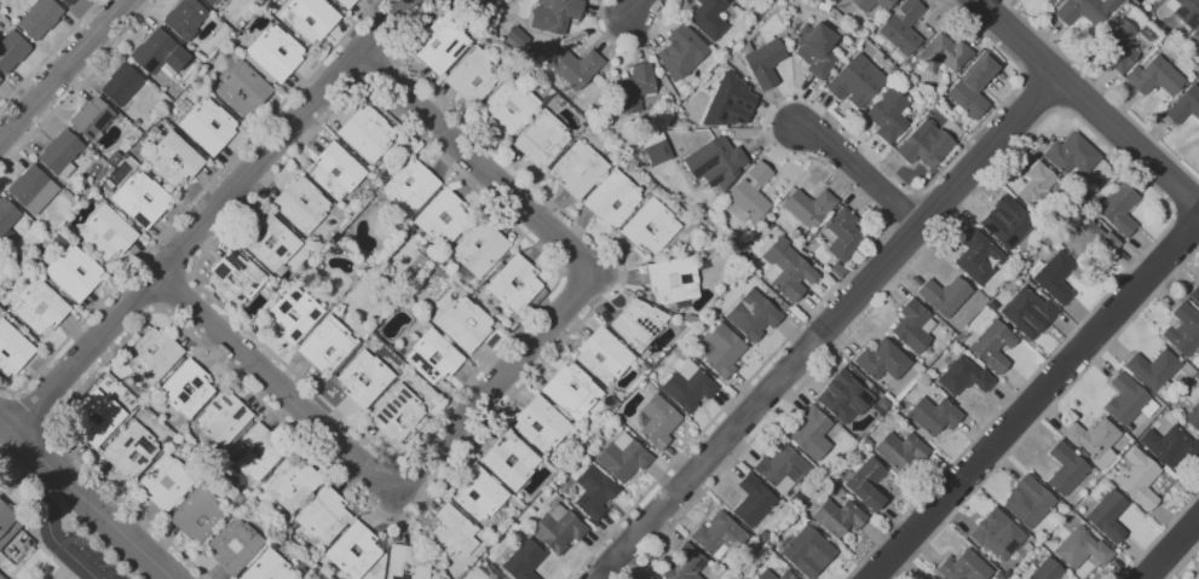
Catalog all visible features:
building: (749, 0)
building: (1049, 0)
building: (69, 1)
building: (211, 1)
building: (347, 2)
building: (483, 2)
building: (870, 4)
road: (636, 7)
building: (1083, 10)
building: (1183, 11)
building: (552, 16)
building: (40, 17)
building: (185, 18)
building: (708, 18)
building: (324, 23)
building: (900, 27)
building: (1197, 35)
building: (517, 36)
building: (438, 44)
building: (1116, 44)
road: (629, 46)
building: (12, 50)
road: (393, 50)
building: (813, 50)
building: (158, 52)
building: (276, 52)
building: (679, 52)
road: (48, 53)
building: (939, 53)
building: (763, 62)
building: (573, 66)
road: (375, 68)
road: (64, 70)
building: (471, 75)
building: (1153, 76)
building: (0, 79)
building: (854, 80)
building: (122, 83)
building: (972, 85)
road: (79, 86)
road: (358, 86)
building: (635, 86)
building: (243, 87)
building: (211, 88)
road: (1101, 89)
road: (1088, 99)
building: (727, 102)
building: (507, 105)
building: (1183, 105)
road: (1063, 108)
building: (887, 115)
building: (93, 118)
building: (209, 126)
building: (367, 133)
building: (538, 137)
building: (923, 144)
building: (62, 152)
building: (656, 152)
building: (1070, 152)
building: (174, 160)
building: (714, 161)
road: (829, 168)
building: (577, 169)
building: (336, 170)
road: (857, 170)
building: (76, 179)
building: (1036, 181)
building: (411, 186)
building: (33, 189)
building: (77, 189)
building: (749, 190)
building: (612, 198)
building: (143, 199)
road: (191, 203)
building: (302, 204)
building: (807, 207)
building: (1116, 207)
building: (7, 218)
building: (443, 218)
road: (208, 219)
building: (131, 220)
building: (1007, 220)
building: (649, 226)
building: (106, 232)
building: (842, 233)
building: (1079, 236)
building: (272, 242)
building: (482, 247)
building: (975, 255)
building: (23, 256)
building: (784, 267)
building: (31, 272)
building: (75, 272)
road: (580, 272)
road: (189, 273)
road: (560, 273)
building: (237, 276)
building: (1053, 277)
building: (673, 280)
building: (515, 284)
road: (173, 288)
building: (1194, 290)
building: (944, 294)
building: (40, 306)
road: (158, 306)
building: (1025, 311)
building: (751, 313)
building: (294, 314)
building: (465, 323)
building: (639, 323)
road: (826, 324)
building: (910, 325)
building: (1182, 329)
building: (328, 344)
building: (992, 344)
building: (12, 348)
building: (724, 349)
building: (155, 354)
building: (604, 354)
building: (433, 357)
building: (881, 359)
building: (1152, 367)
building: (963, 375)
building: (364, 378)
road: (498, 381)
building: (688, 386)
building: (186, 388)
building: (572, 390)
building: (842, 396)
building: (1124, 398)
road: (1034, 403)
road: (29, 413)
building: (397, 413)
building: (932, 413)
building: (1193, 416)
building: (96, 418)
building: (223, 418)
building: (657, 421)
building: (542, 423)
building: (812, 433)
building: (1093, 436)
building: (1169, 445)
building: (899, 447)
building: (131, 450)
building: (256, 452)
building: (623, 457)
building: (525, 464)
building: (743, 467)
building: (783, 468)
building: (1063, 468)
road: (397, 475)
building: (1139, 479)
building: (167, 481)
building: (292, 481)
building: (865, 482)
building: (594, 491)
building: (479, 492)
building: (754, 499)
building: (1027, 500)
road: (82, 502)
road: (71, 514)
building: (198, 514)
building: (1103, 514)
building: (324, 515)
road: (409, 515)
building: (838, 517)
building: (7, 523)
building: (513, 527)
building: (558, 528)
building: (454, 532)
building: (996, 533)
building: (720, 534)
road: (54, 538)
building: (236, 545)
building: (341, 546)
building: (1079, 548)
building: (419, 549)
building: (808, 551)
road: (1176, 554)
building: (524, 560)
building: (408, 562)
building: (685, 563)
building: (269, 567)
building: (963, 567)
building: (1045, 569)
building: (766, 575)
building: (786, 575)
building: (1, 577)
building: (929, 577)
building: (655, 578)

